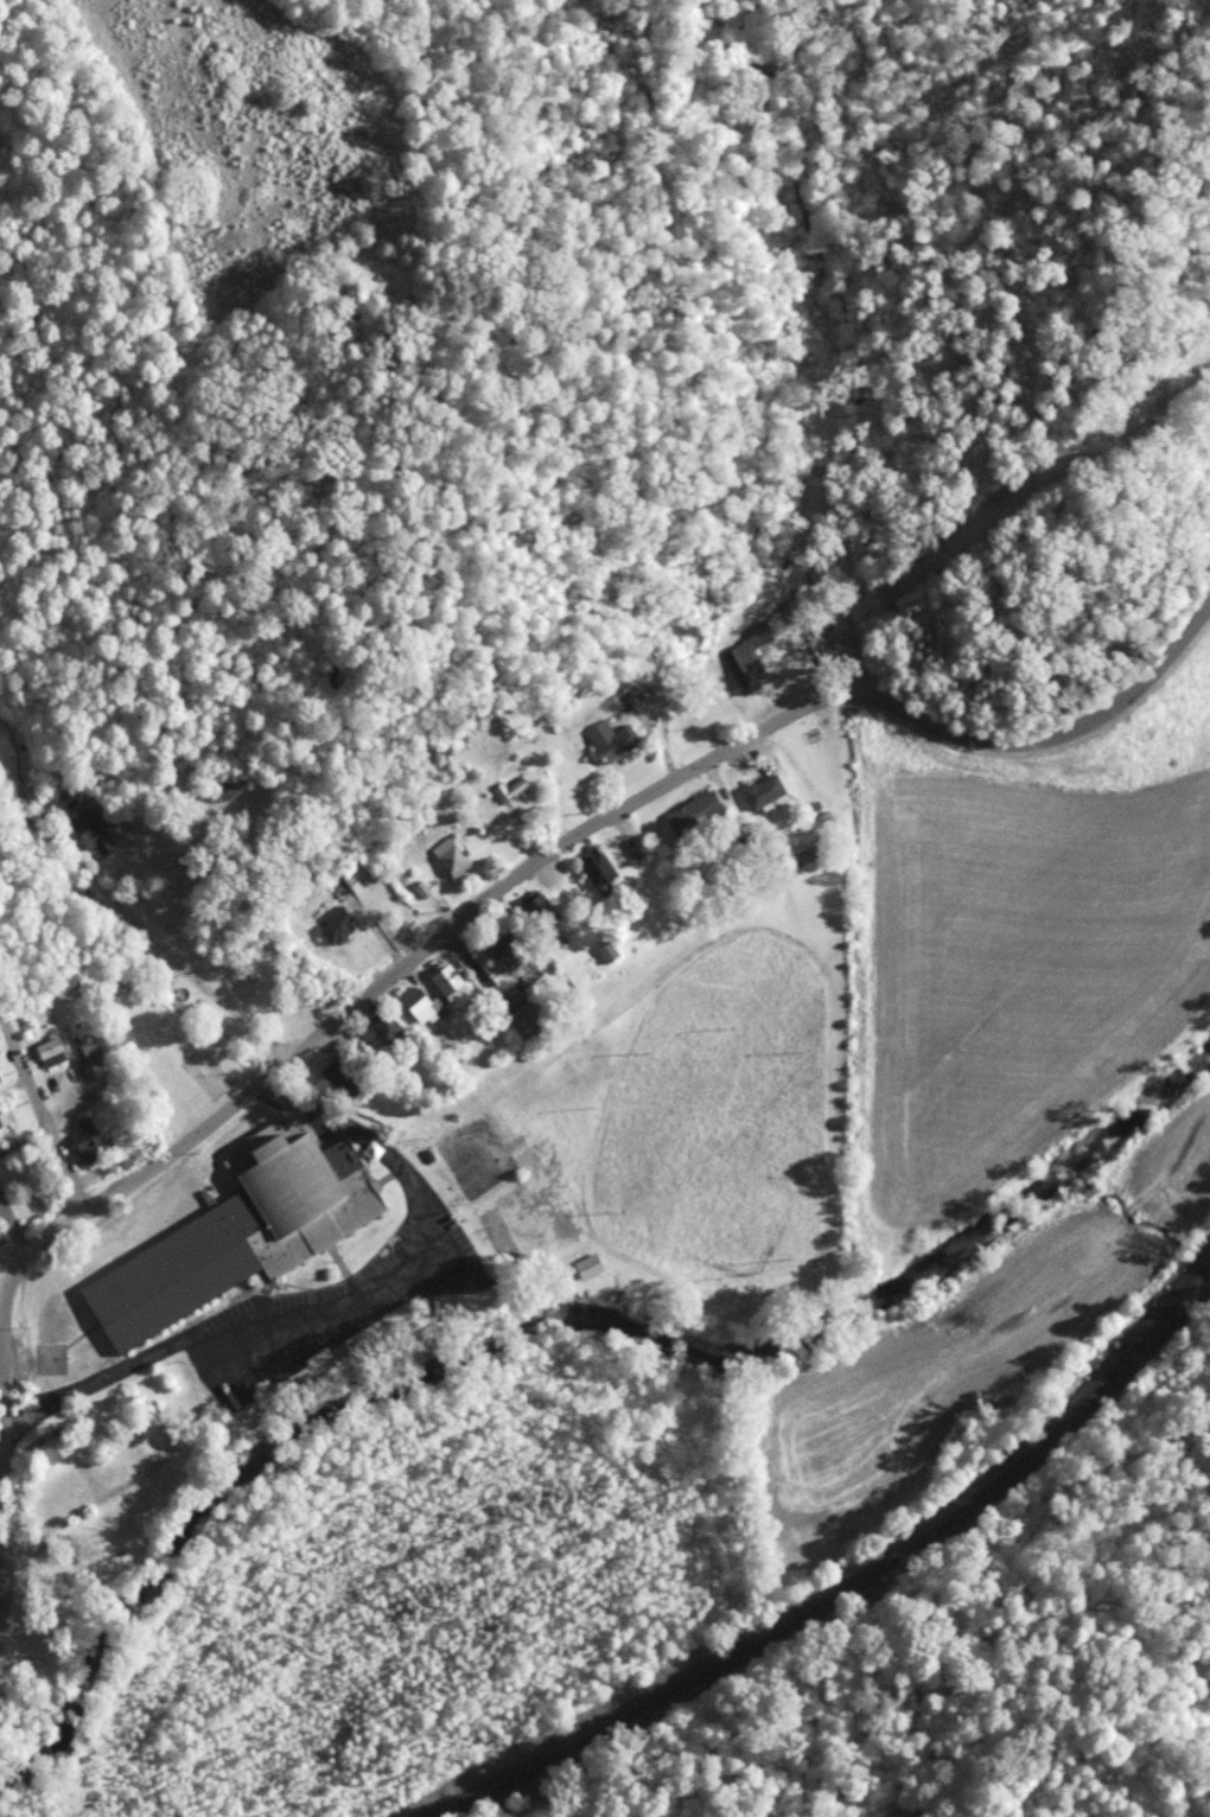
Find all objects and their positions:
building: (883, 467)
road: (847, 638)
building: (743, 662)
building: (629, 701)
building: (606, 738)
building: (224, 786)
building: (507, 789)
building: (758, 790)
building: (695, 816)
building: (85, 830)
road: (563, 842)
building: (450, 858)
building: (601, 872)
building: (423, 891)
building: (533, 910)
building: (335, 926)
building: (609, 955)
building: (505, 957)
road: (177, 962)
building: (442, 980)
building: (415, 1003)
building: (524, 1022)
building: (382, 1028)
building: (83, 1050)
building: (51, 1056)
building: (346, 1076)
building: (2, 1114)
road: (40, 1115)
building: (87, 1141)
building: (429, 1158)
building: (242, 1230)
building: (590, 1268)
road: (337, 1309)
building: (57, 1452)
railway: (966, 1505)
road: (0, 1520)
railway: (554, 1752)

